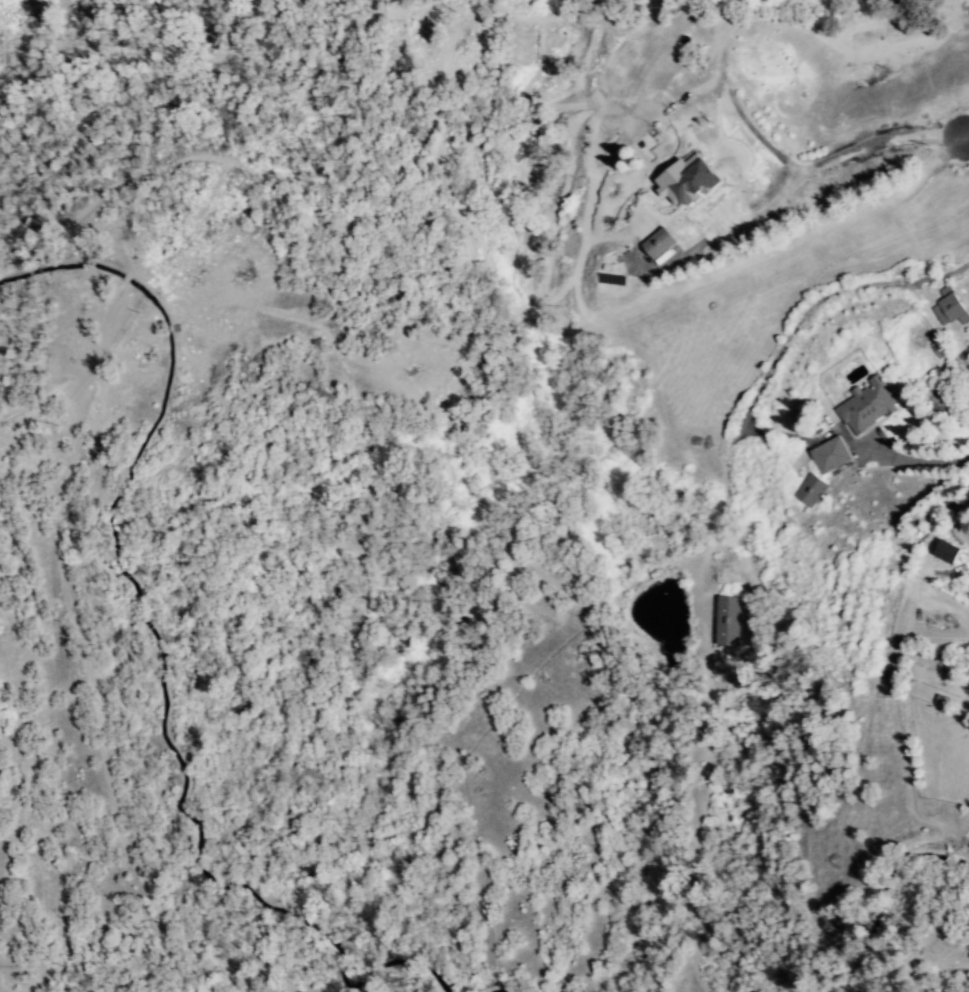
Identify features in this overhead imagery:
road: (967, 136)
road: (807, 165)
building: (686, 180)
building: (658, 243)
building: (949, 307)
road: (751, 399)
building: (867, 405)
building: (830, 455)
building: (810, 490)
road: (958, 524)
road: (717, 530)
building: (946, 552)
building: (727, 621)

